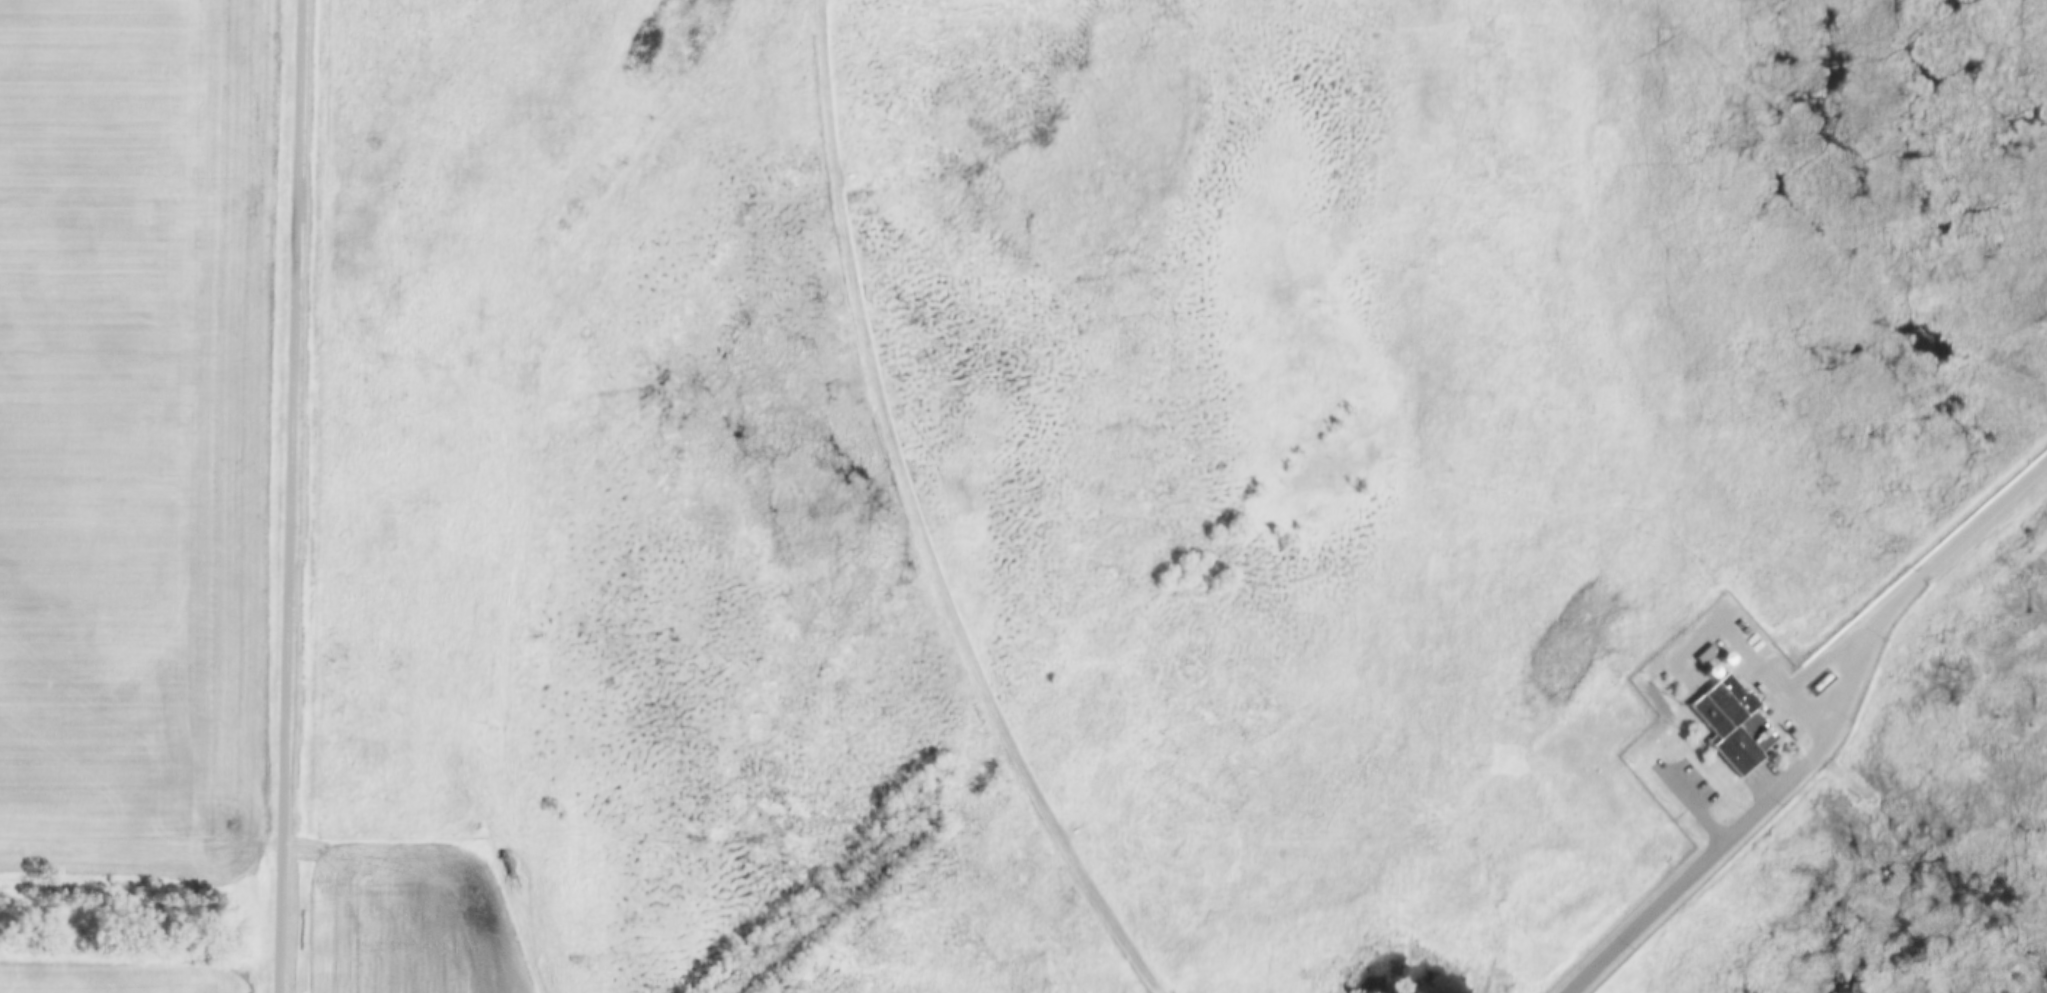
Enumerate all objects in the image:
road: (293, 496)
road: (927, 523)
road: (1902, 599)
building: (1709, 652)
building: (1728, 657)
storage tank: (1728, 657)
building: (1714, 669)
storage tank: (1714, 669)
building: (1825, 681)
building: (1736, 723)
storage tank: (1736, 723)
road: (1688, 879)

